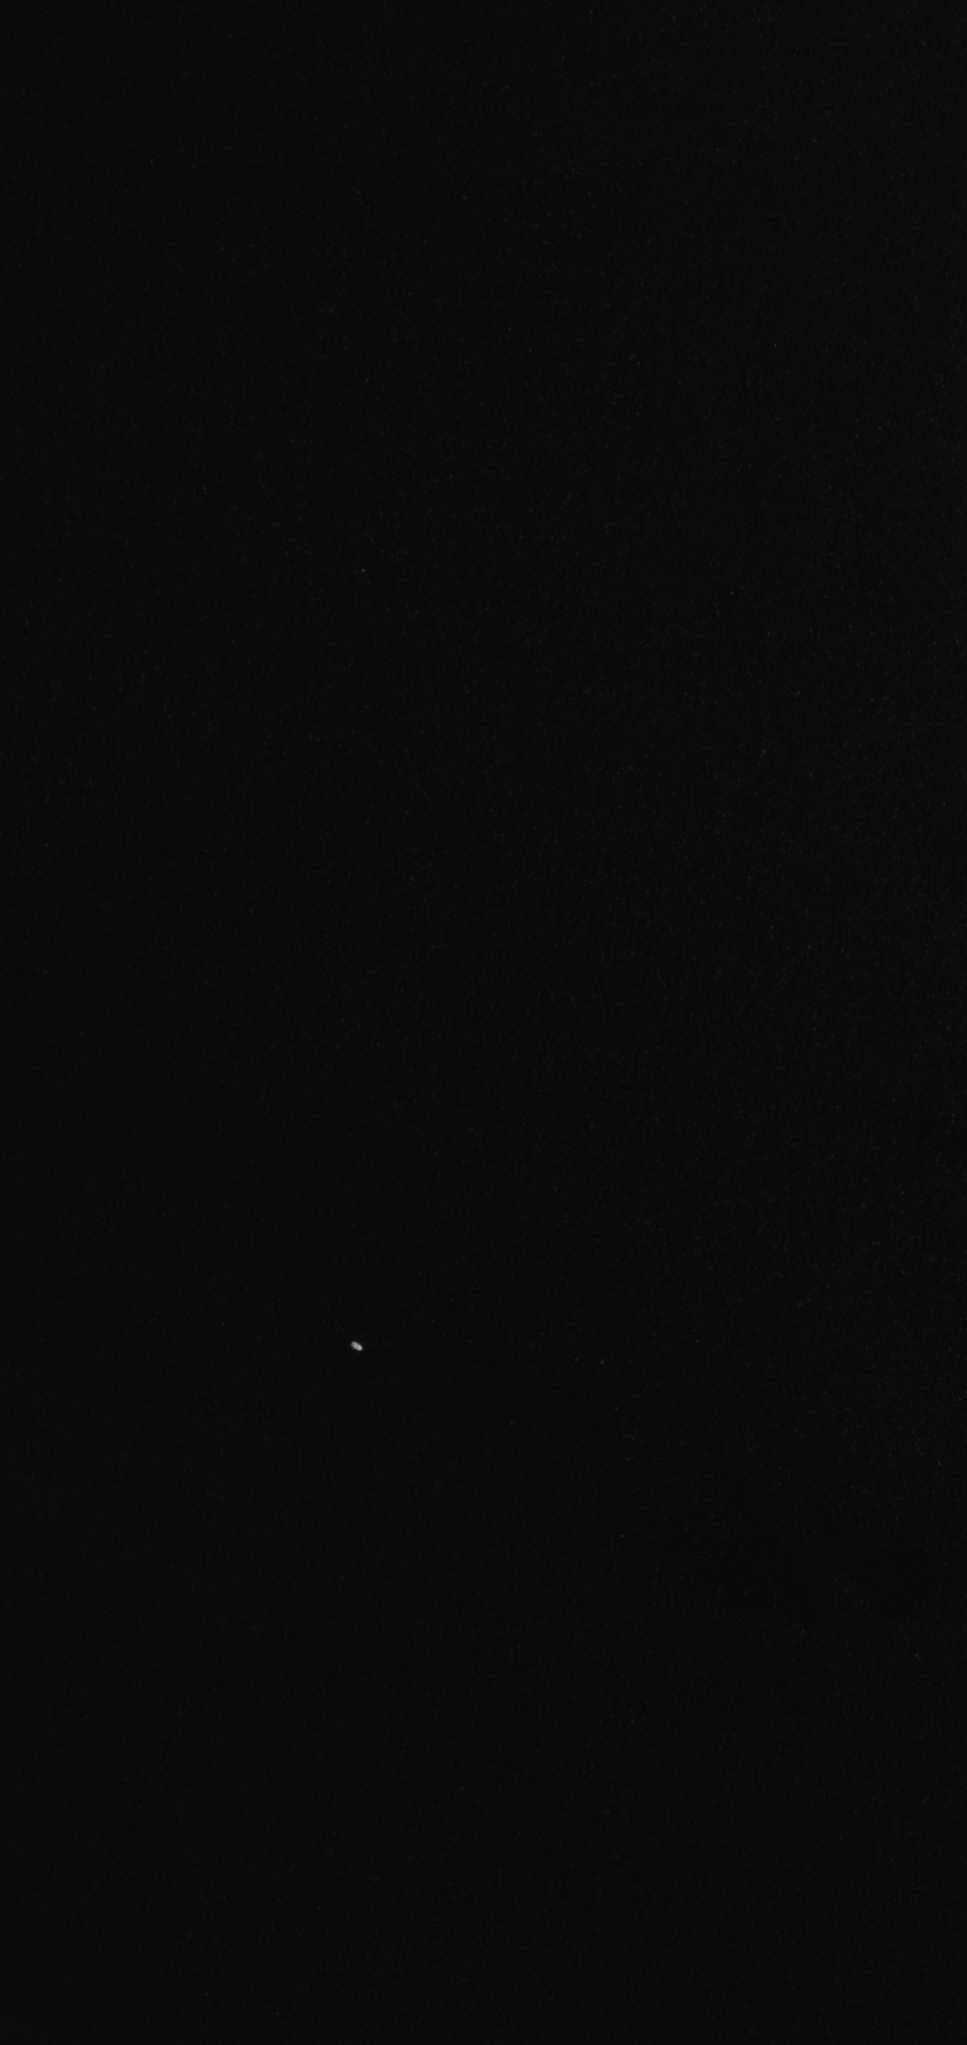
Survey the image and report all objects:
river: (483, 1166)

